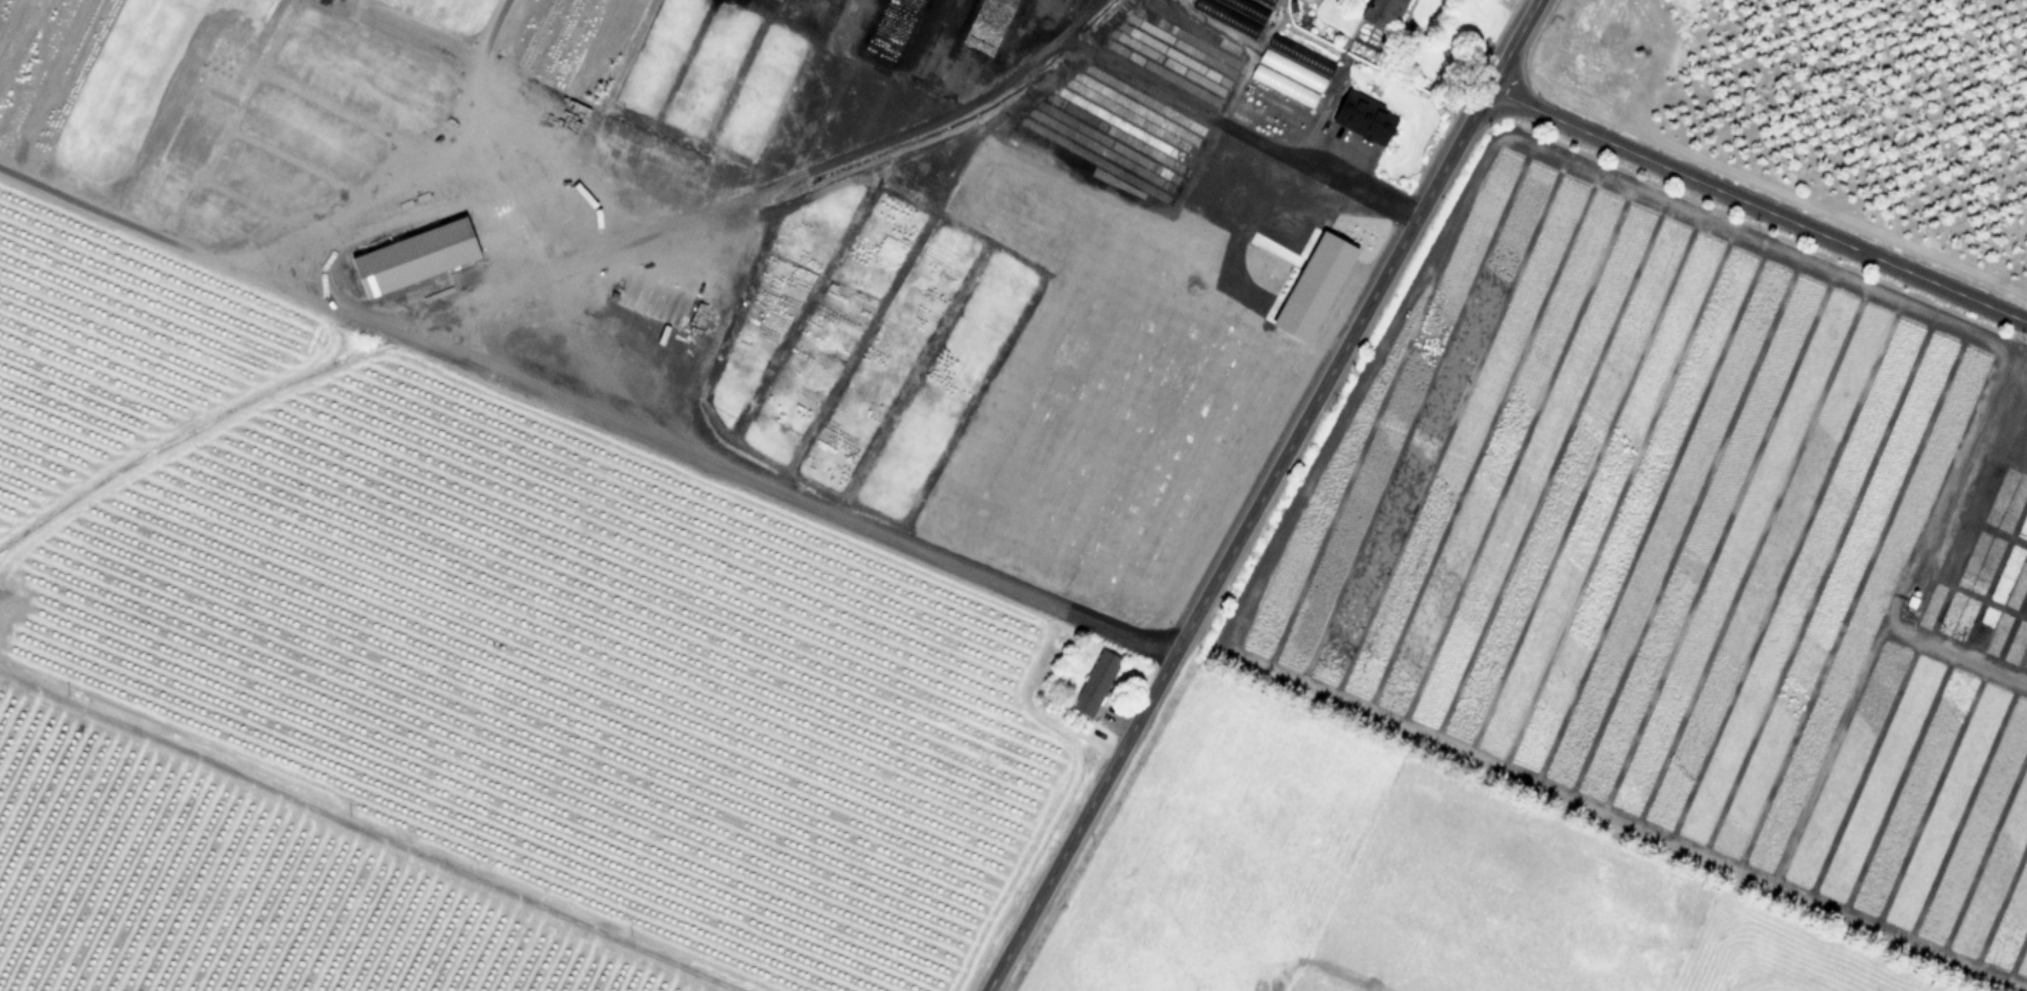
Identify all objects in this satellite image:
building: (1384, 12)
road: (1235, 134)
road: (795, 185)
road: (1757, 206)
road: (155, 234)
building: (412, 257)
road: (904, 259)
crop: (612, 459)
road: (741, 477)
road: (1262, 495)
crop: (1668, 554)
building: (1095, 683)

